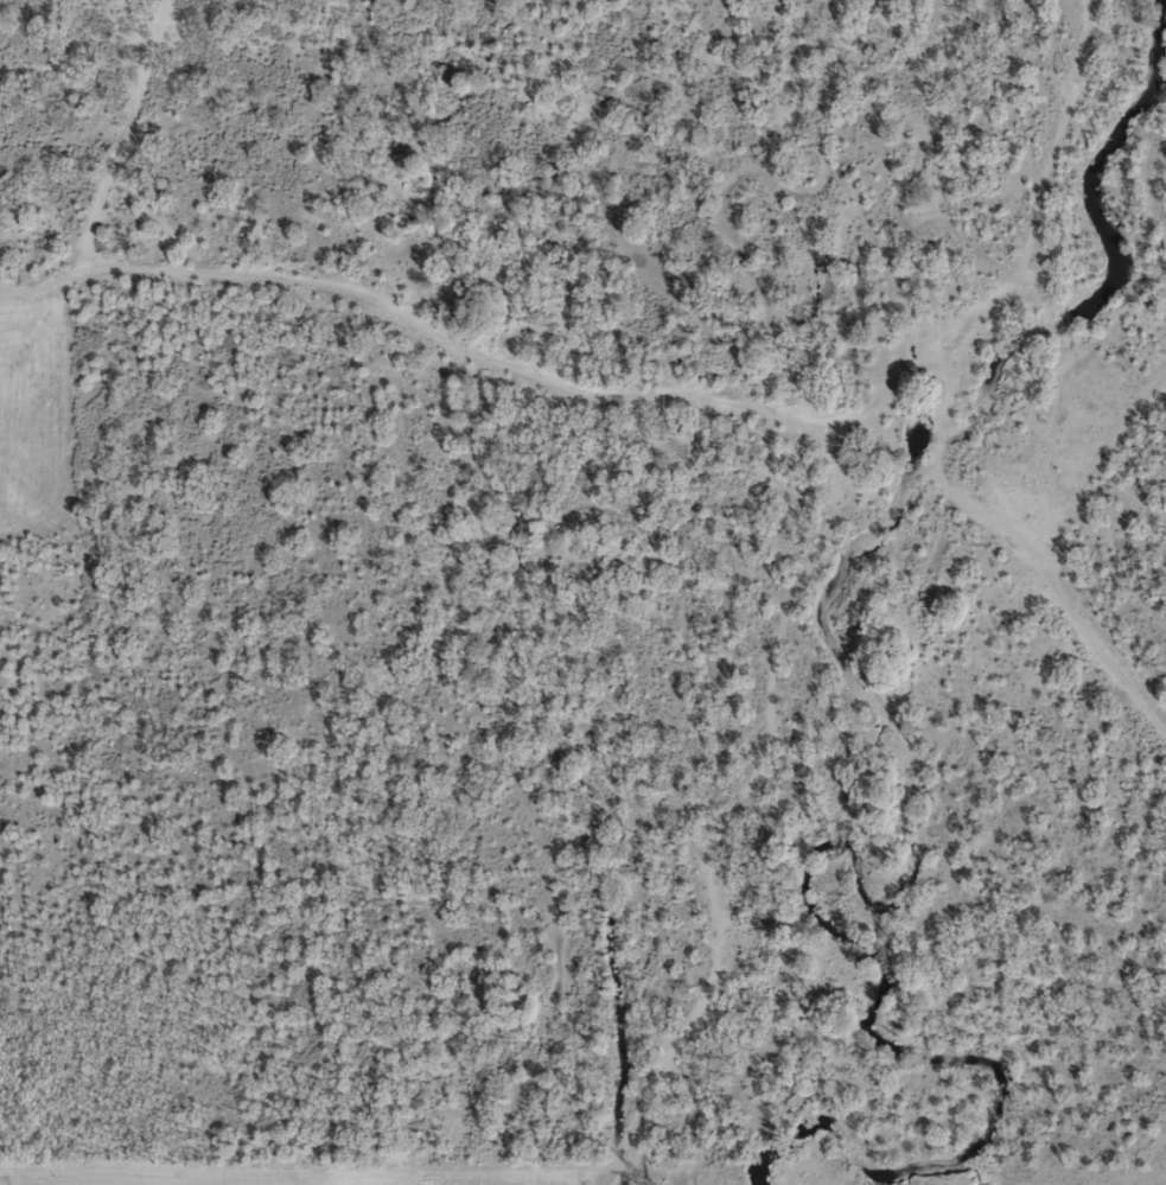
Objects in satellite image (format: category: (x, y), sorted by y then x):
road: (1034, 256)
road: (626, 459)

